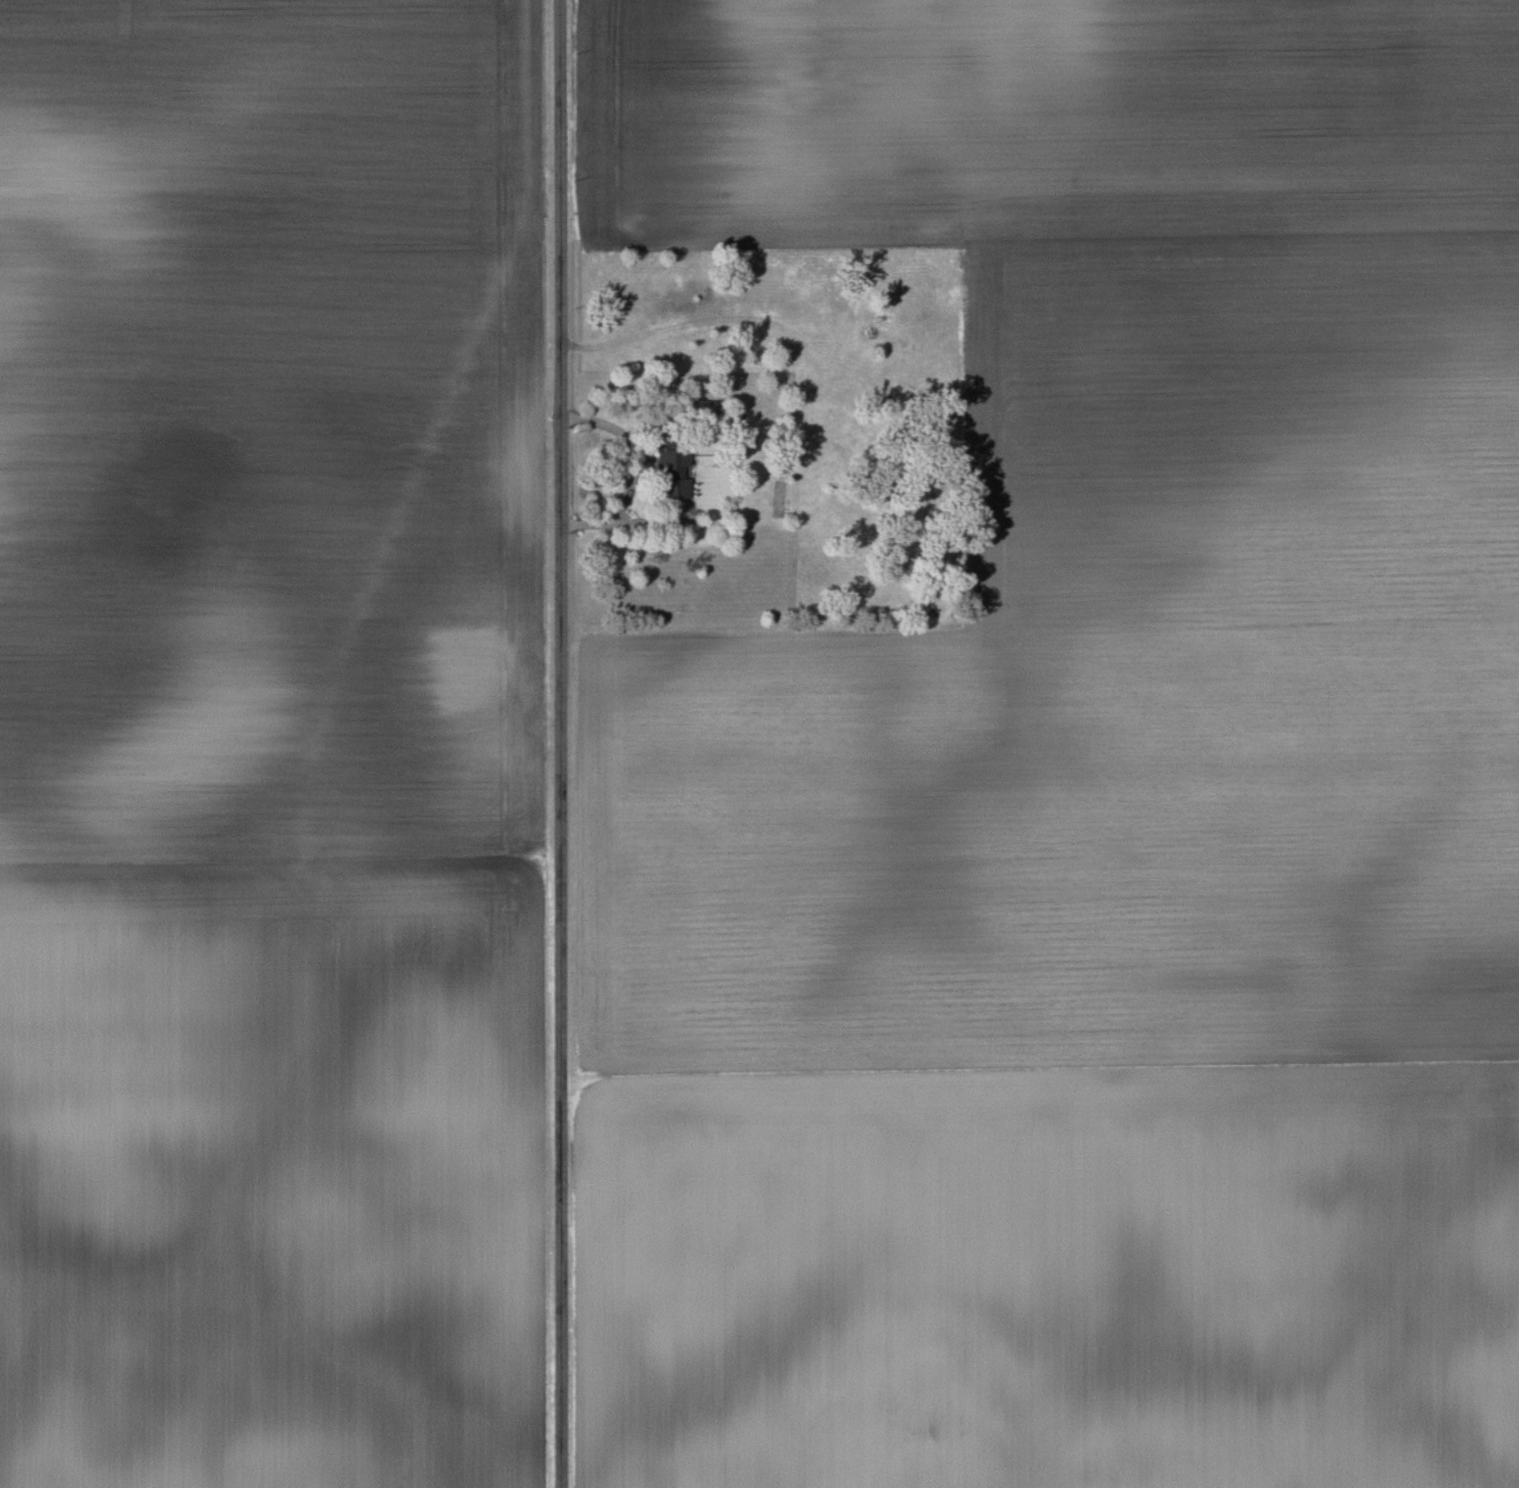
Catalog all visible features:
building: (672, 469)
road: (630, 471)
road: (555, 744)

